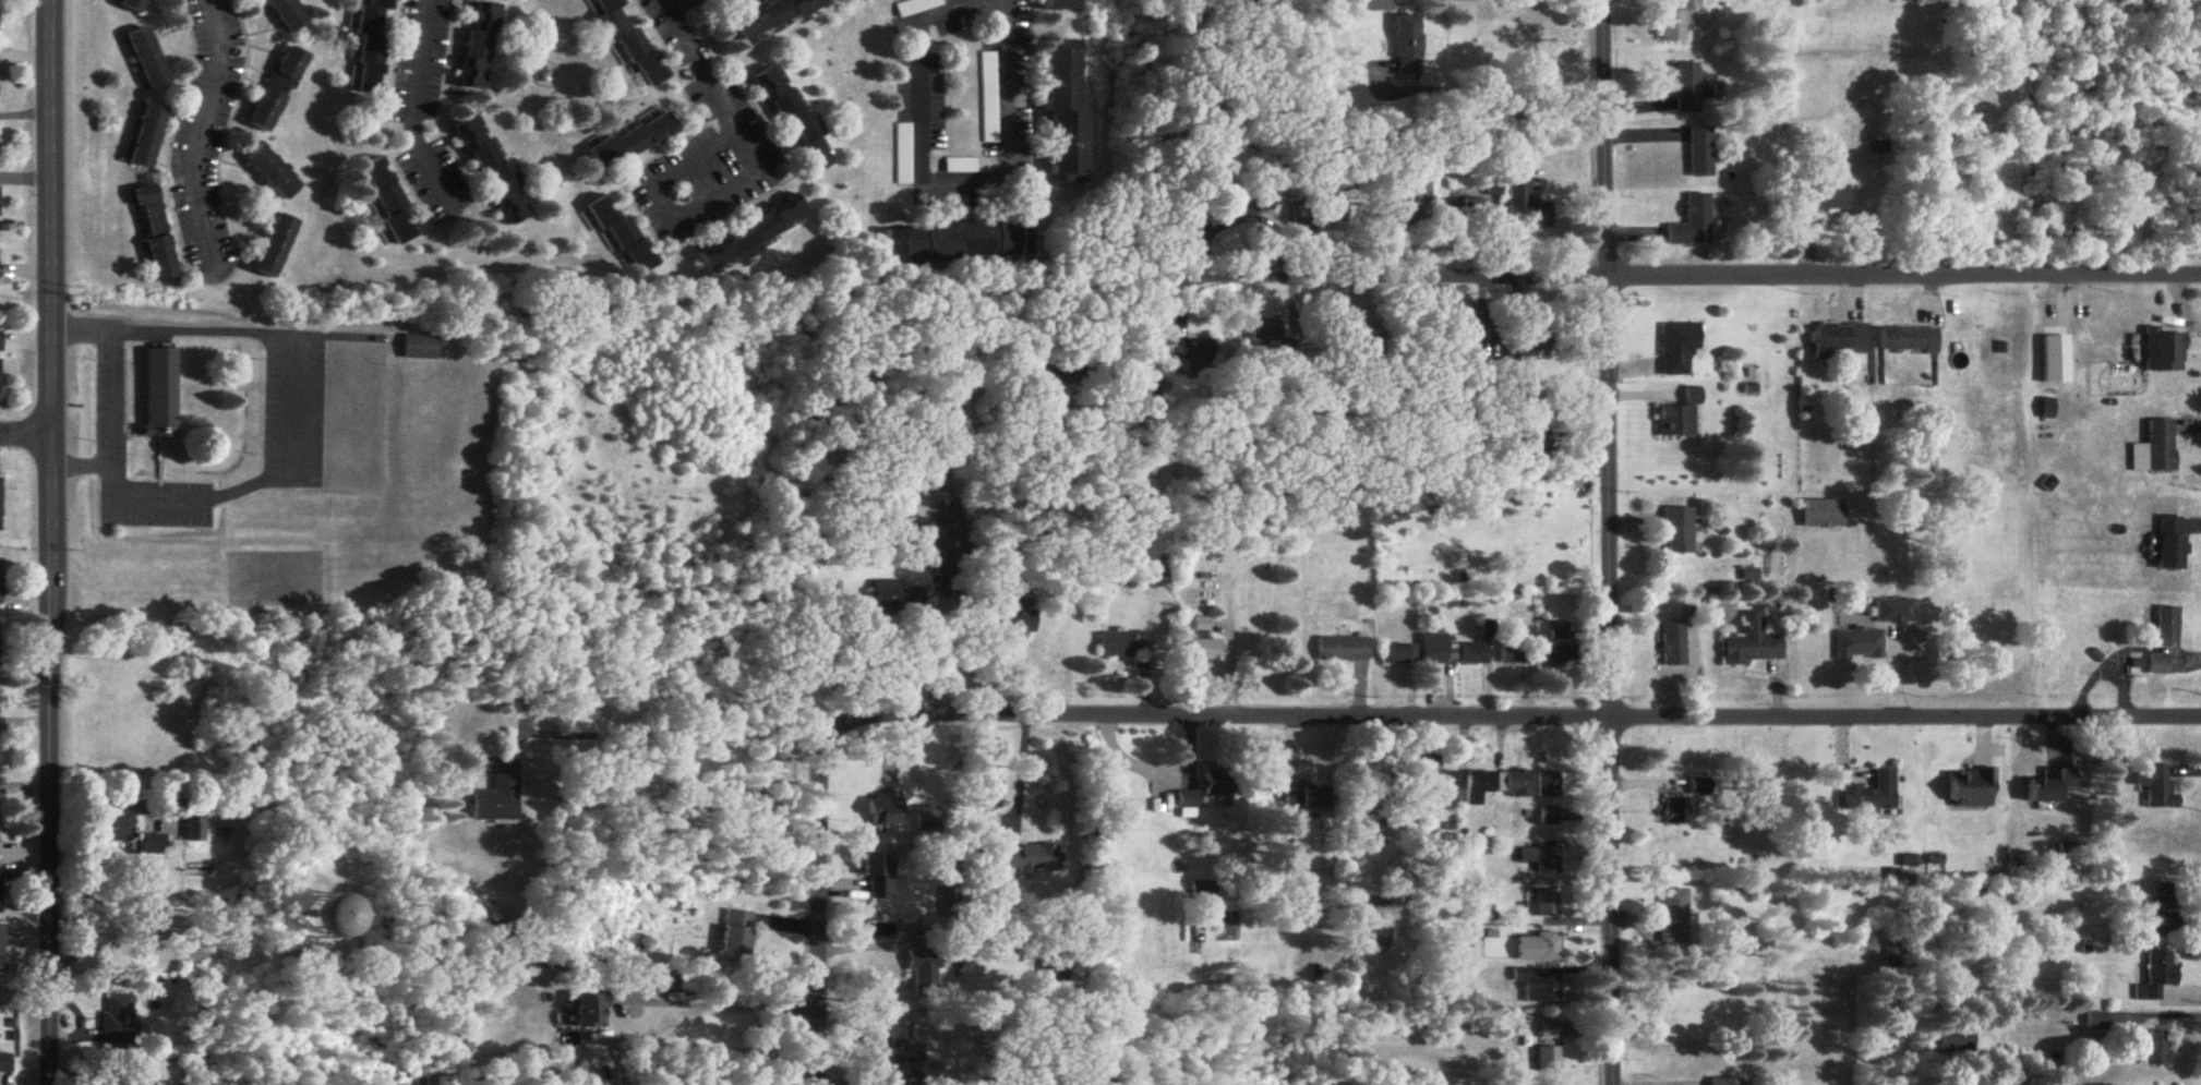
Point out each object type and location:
building: (132, 5)
building: (1057, 5)
building: (285, 14)
building: (773, 17)
building: (1676, 22)
building: (629, 43)
building: (370, 47)
building: (1408, 47)
building: (479, 50)
building: (146, 60)
road: (1487, 88)
building: (275, 91)
building: (1689, 91)
road: (411, 111)
road: (727, 117)
building: (1062, 117)
building: (791, 121)
road: (196, 134)
building: (146, 137)
building: (632, 143)
building: (1879, 148)
building: (1698, 154)
building: (490, 169)
building: (270, 174)
building: (1420, 185)
building: (1492, 186)
road: (938, 188)
building: (1819, 198)
building: (389, 204)
building: (1525, 206)
building: (1467, 207)
building: (1691, 225)
building: (154, 233)
building: (621, 237)
building: (750, 239)
building: (959, 245)
building: (275, 248)
road: (1711, 272)
road: (1151, 308)
building: (1264, 331)
building: (1840, 340)
building: (1908, 340)
building: (420, 348)
building: (1676, 348)
building: (1184, 351)
building: (2163, 351)
building: (1022, 370)
building: (159, 393)
road: (100, 394)
road: (288, 412)
building: (1680, 417)
road: (22, 436)
building: (2155, 449)
building: (1514, 474)
building: (1823, 515)
building: (1676, 530)
road: (45, 542)
road: (1609, 542)
building: (2170, 543)
building: (0, 582)
building: (895, 598)
building: (1893, 611)
building: (1020, 612)
building: (2166, 627)
building: (1203, 642)
building: (1674, 643)
building: (1753, 643)
building: (1122, 644)
building: (1557, 646)
building: (1859, 646)
building: (1340, 649)
building: (1435, 650)
building: (1396, 654)
building: (1471, 654)
building: (1511, 654)
building: (2158, 665)
road: (1500, 718)
road: (1019, 782)
building: (1217, 782)
building: (1514, 784)
building: (1477, 785)
building: (1548, 785)
building: (2155, 786)
building: (1441, 787)
building: (2045, 787)
building: (1697, 788)
building: (1970, 788)
building: (1871, 794)
building: (1303, 796)
building: (496, 800)
building: (1187, 804)
building: (883, 809)
building: (1677, 810)
building: (1549, 817)
building: (934, 818)
building: (191, 825)
building: (109, 828)
building: (149, 845)
building: (1031, 857)
building: (1541, 859)
building: (876, 870)
building: (1203, 892)
building: (1543, 903)
building: (2155, 907)
building: (315, 914)
building: (1673, 917)
road: (818, 920)
building: (736, 932)
building: (1537, 947)
building: (1, 949)
building: (923, 968)
building: (1054, 968)
building: (2154, 975)
building: (1537, 987)
road: (727, 1000)
building: (588, 1010)
building: (118, 1022)
building: (1548, 1032)
building: (2155, 1048)
building: (1548, 1059)
building: (5, 1061)
building: (127, 1080)
building: (1725, 1082)

